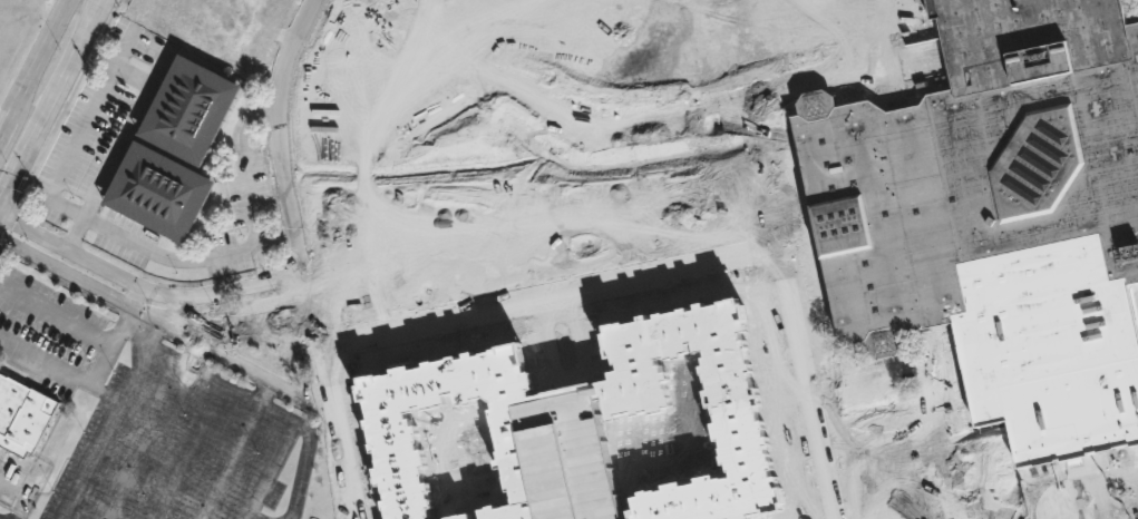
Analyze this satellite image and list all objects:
road: (747, 6)
road: (753, 9)
road: (805, 40)
road: (43, 48)
road: (760, 72)
road: (834, 78)
road: (49, 104)
building: (185, 114)
road: (10, 117)
road: (129, 117)
road: (245, 156)
building: (154, 194)
building: (1000, 218)
traffic signals: (16, 222)
road: (780, 253)
road: (301, 256)
road: (169, 257)
road: (548, 294)
road: (154, 296)
road: (56, 316)
road: (156, 322)
road: (120, 326)
road: (65, 371)
road: (255, 378)
road: (271, 405)
building: (21, 414)
road: (110, 421)
road: (226, 459)
road: (1022, 492)
road: (22, 494)
road: (98, 506)
road: (344, 508)
parking lot: (1097, 511)

